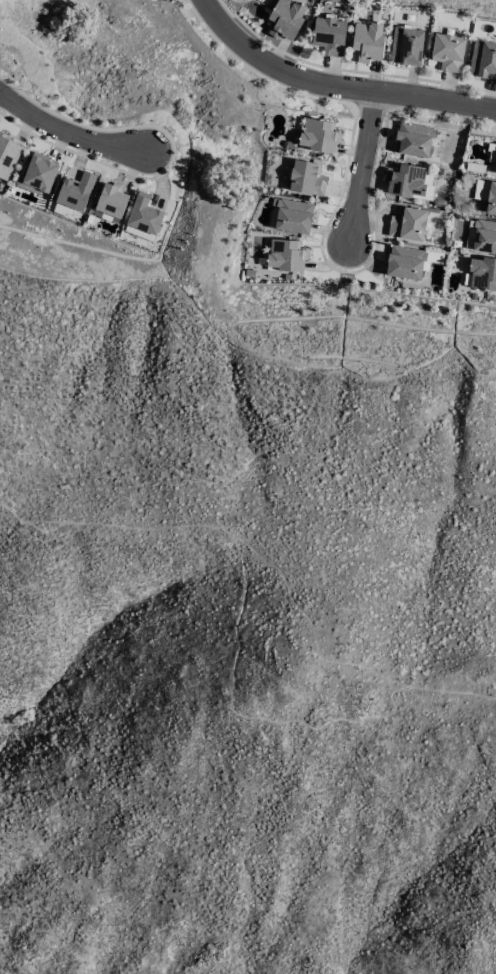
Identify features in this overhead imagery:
building: (286, 19)
building: (329, 35)
building: (367, 41)
building: (406, 46)
building: (447, 52)
building: (482, 58)
road: (333, 85)
road: (66, 133)
building: (318, 135)
building: (414, 139)
building: (492, 154)
building: (7, 155)
road: (363, 169)
building: (38, 174)
building: (306, 178)
building: (408, 182)
building: (75, 191)
building: (491, 198)
building: (111, 200)
building: (143, 214)
building: (291, 215)
building: (407, 224)
building: (484, 236)
building: (286, 254)
building: (404, 262)
building: (482, 273)
road: (310, 626)
road: (236, 643)

